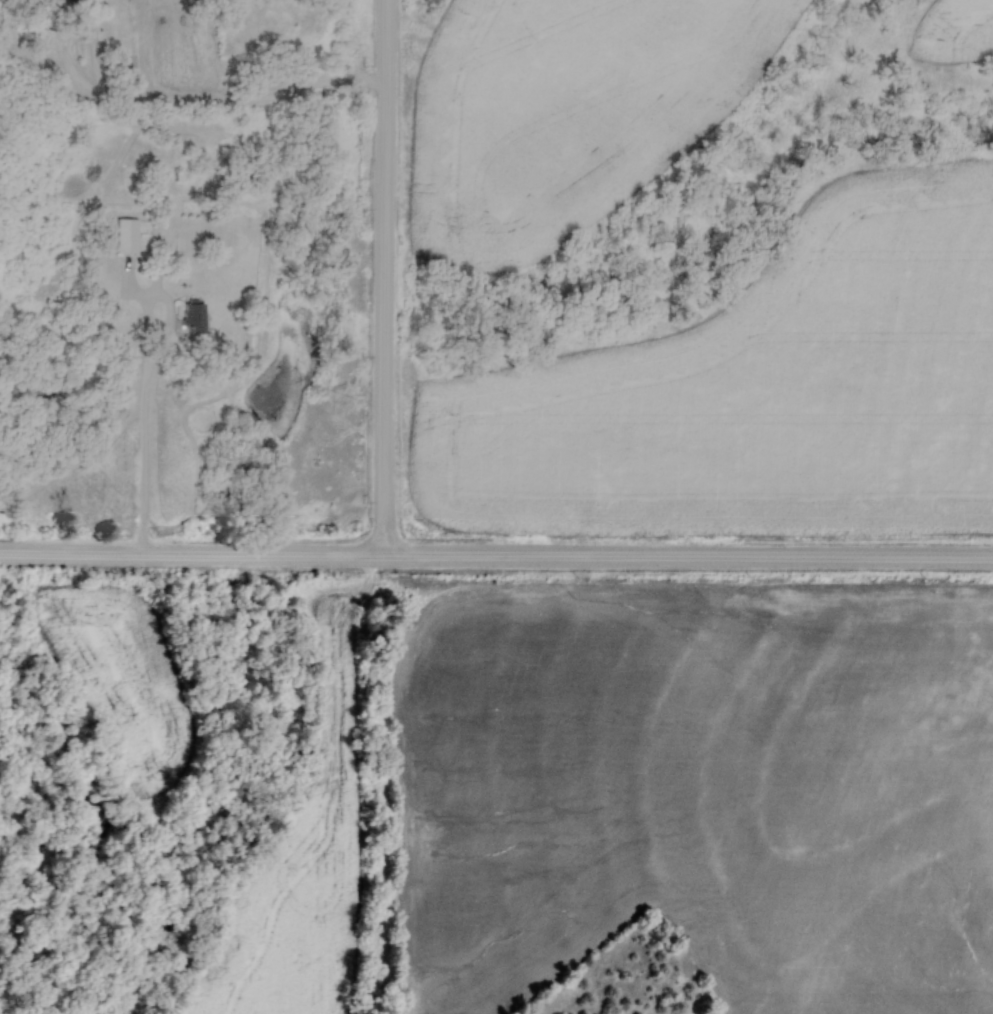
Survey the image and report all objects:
road: (219, 87)
building: (120, 234)
building: (154, 264)
road: (378, 277)
building: (188, 316)
road: (219, 326)
road: (147, 380)
road: (496, 556)

